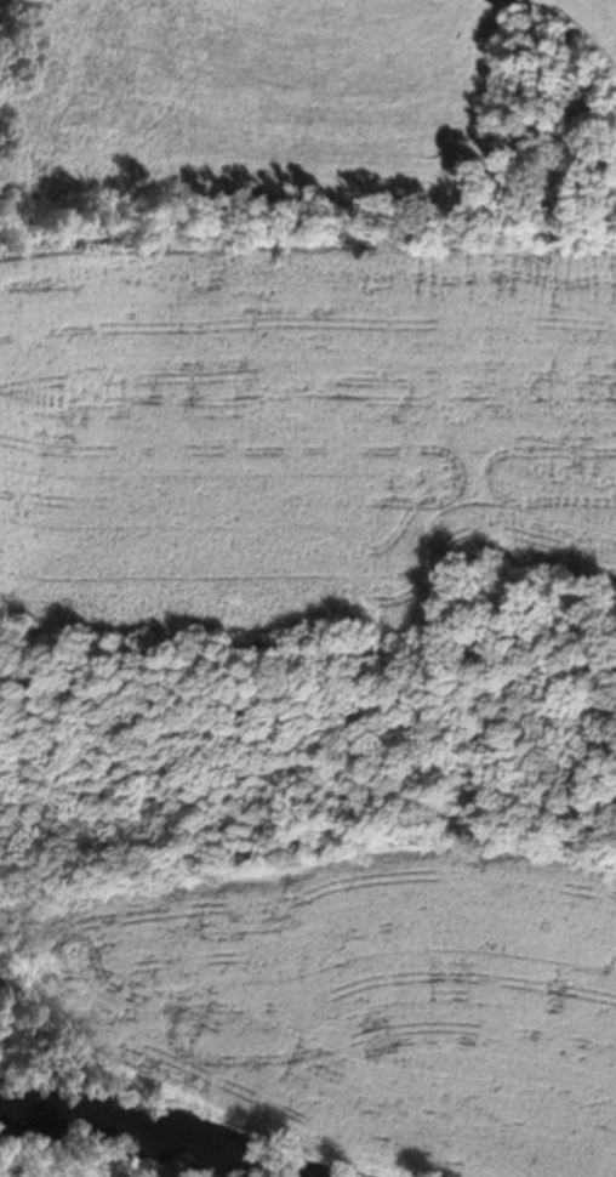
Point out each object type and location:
river: (97, 1152)

